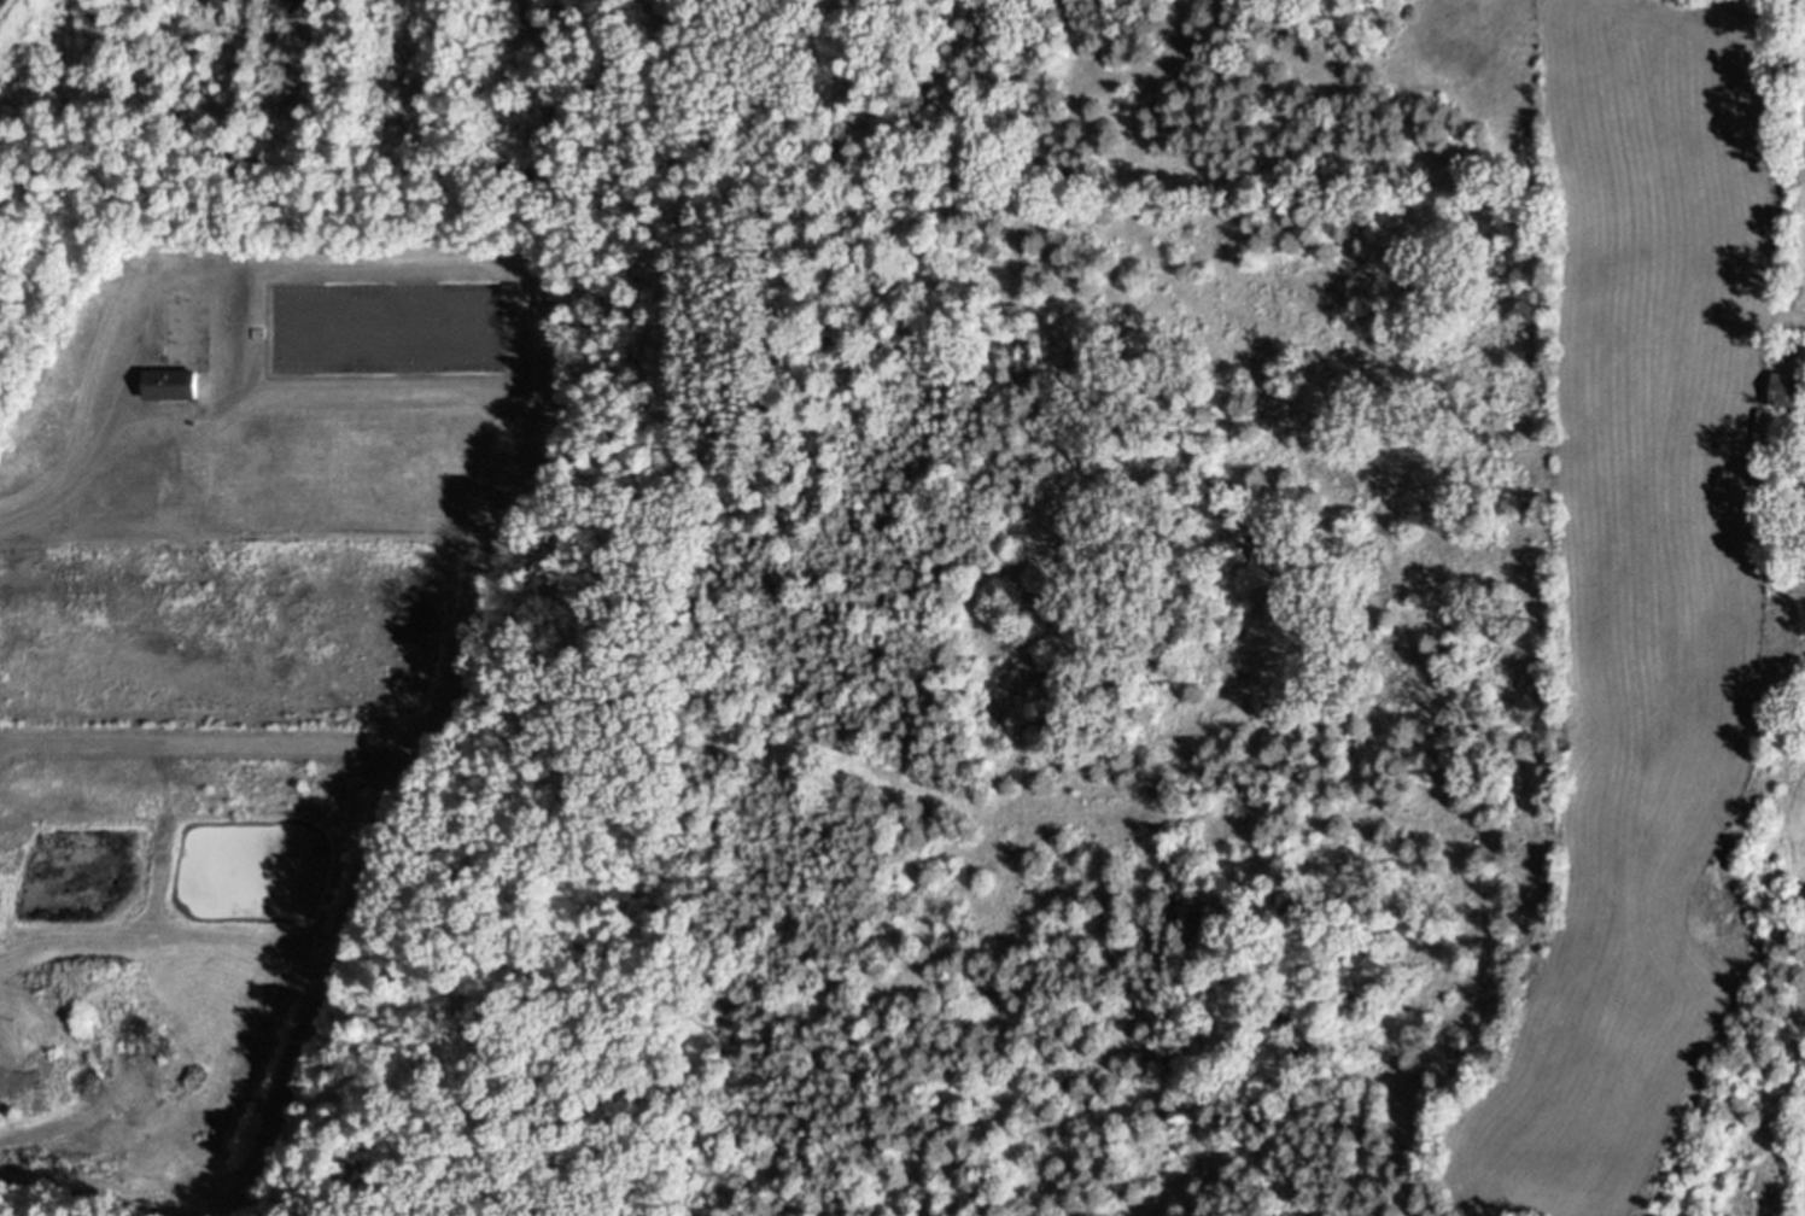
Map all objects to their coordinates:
building: (170, 390)
building: (1789, 396)
road: (70, 483)

